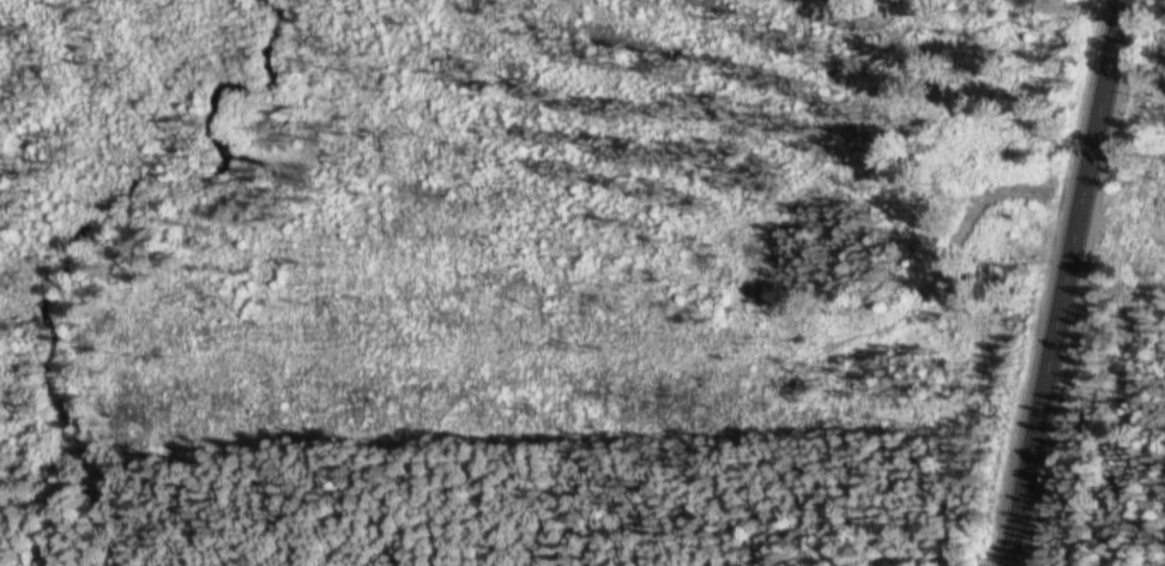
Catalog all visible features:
road: (1067, 282)

